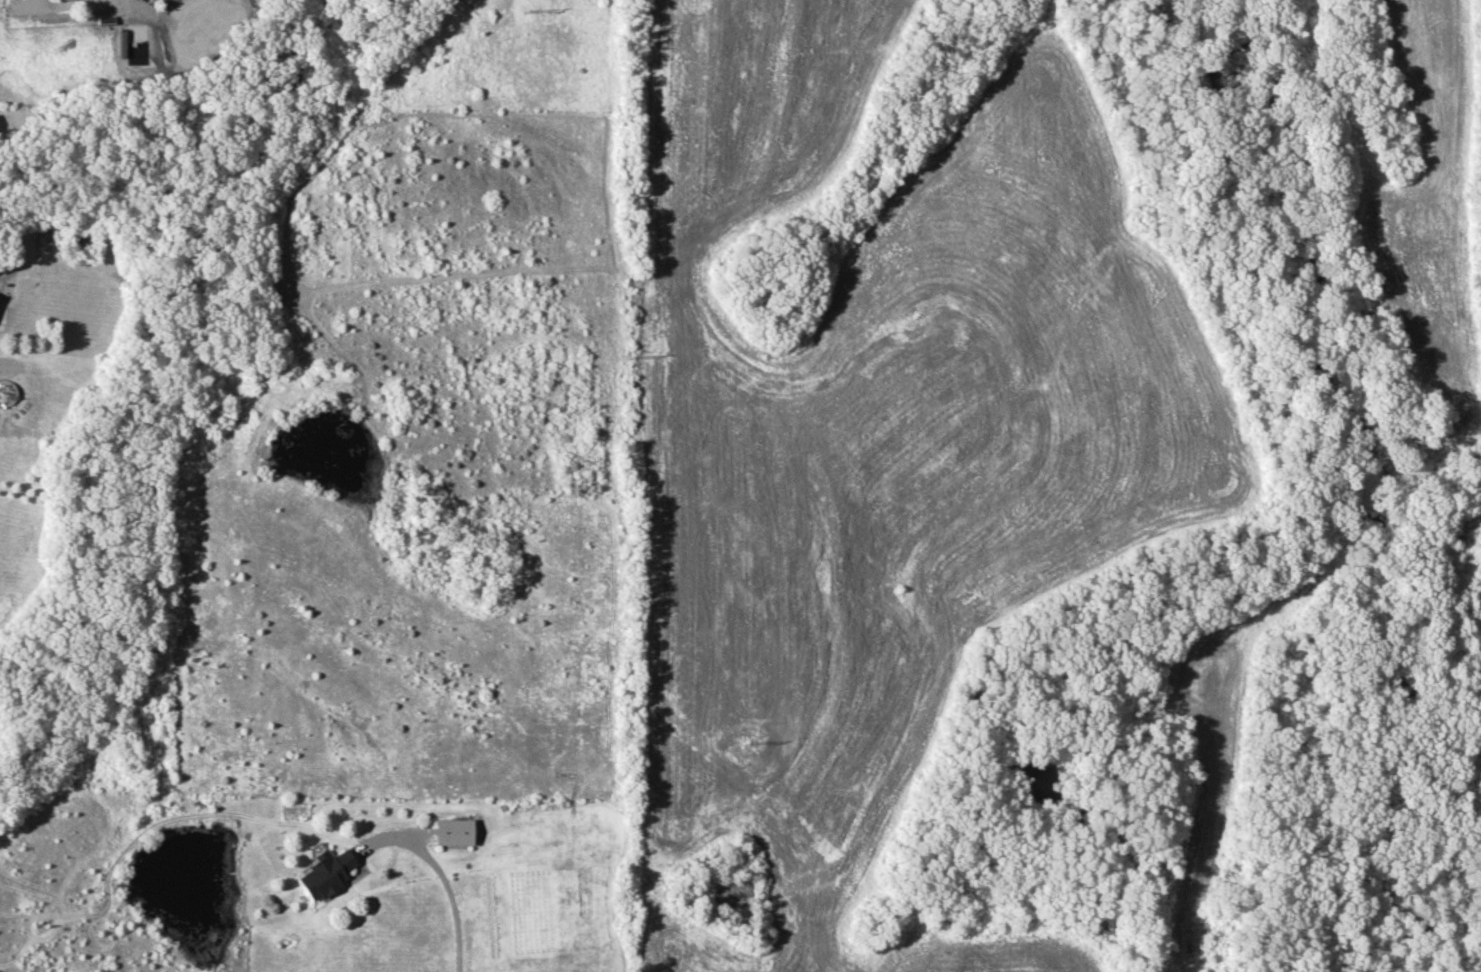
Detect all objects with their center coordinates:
building: (451, 831)
building: (324, 872)
road: (438, 872)

